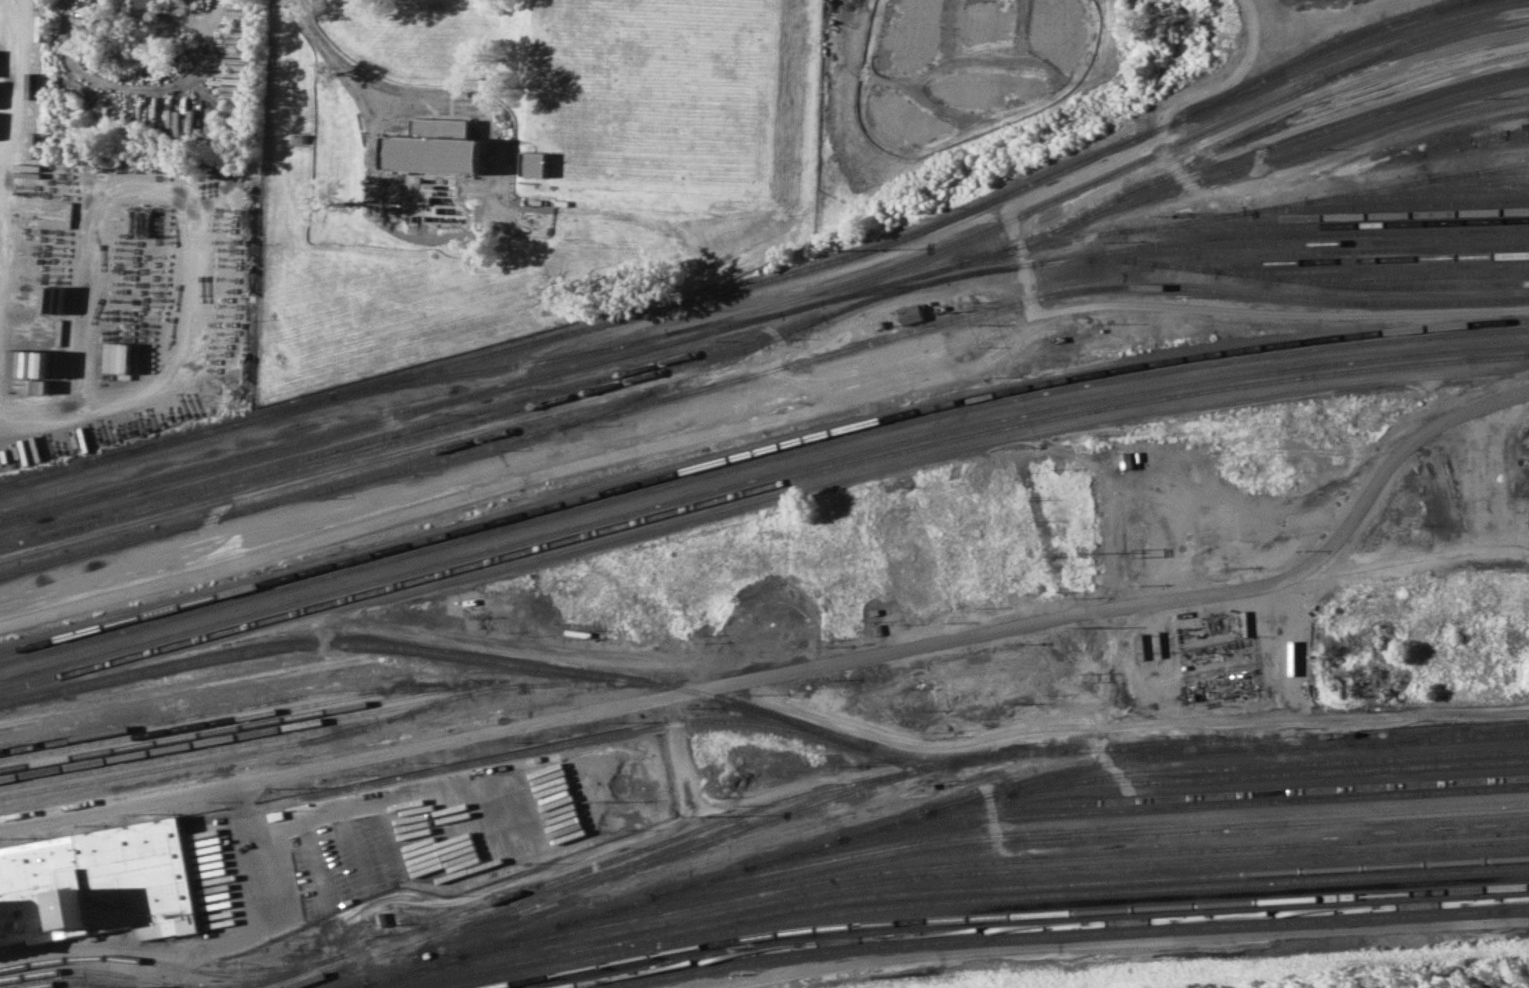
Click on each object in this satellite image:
railway: (1466, 1)
road: (1251, 10)
building: (136, 11)
railway: (1427, 44)
railway: (1331, 45)
road: (354, 76)
railway: (1378, 93)
road: (1188, 105)
railway: (1325, 128)
building: (439, 146)
railway: (1296, 149)
building: (538, 163)
railway: (1490, 175)
railway: (1458, 185)
railway: (1434, 194)
railway: (1403, 204)
railway: (1255, 210)
railway: (1372, 214)
railway: (1338, 224)
railway: (1291, 235)
railway: (1028, 243)
railway: (1329, 243)
railway: (945, 248)
railway: (1322, 253)
road: (1023, 260)
railway: (1357, 261)
railway: (1027, 265)
railway: (1381, 268)
railway: (933, 276)
railway: (1415, 276)
railway: (776, 278)
railway: (1319, 301)
building: (913, 313)
building: (125, 357)
railway: (554, 428)
railway: (410, 430)
railway: (383, 446)
railway: (757, 451)
railway: (253, 454)
railway: (757, 461)
railway: (757, 478)
railway: (323, 481)
railway: (757, 487)
road: (1414, 562)
road: (800, 671)
railway: (332, 709)
railway: (762, 711)
railway: (199, 715)
railway: (233, 718)
road: (1127, 725)
railway: (265, 730)
railway: (1413, 735)
railway: (1258, 744)
railway: (234, 746)
railway: (1224, 750)
railway: (518, 755)
railway: (206, 760)
railway: (946, 764)
railway: (1268, 765)
railway: (1182, 780)
railway: (1135, 800)
railway: (1086, 811)
railway: (1038, 831)
railway: (698, 842)
railway: (991, 844)
railway: (943, 864)
railway: (939, 874)
building: (95, 886)
railway: (955, 890)
railway: (979, 899)
railway: (459, 913)
railway: (1009, 916)
railway: (451, 922)
railway: (1043, 926)
railway: (1069, 935)
railway: (401, 948)
railway: (169, 966)
railway: (93, 971)
park: (1423, 972)
park: (1158, 985)

